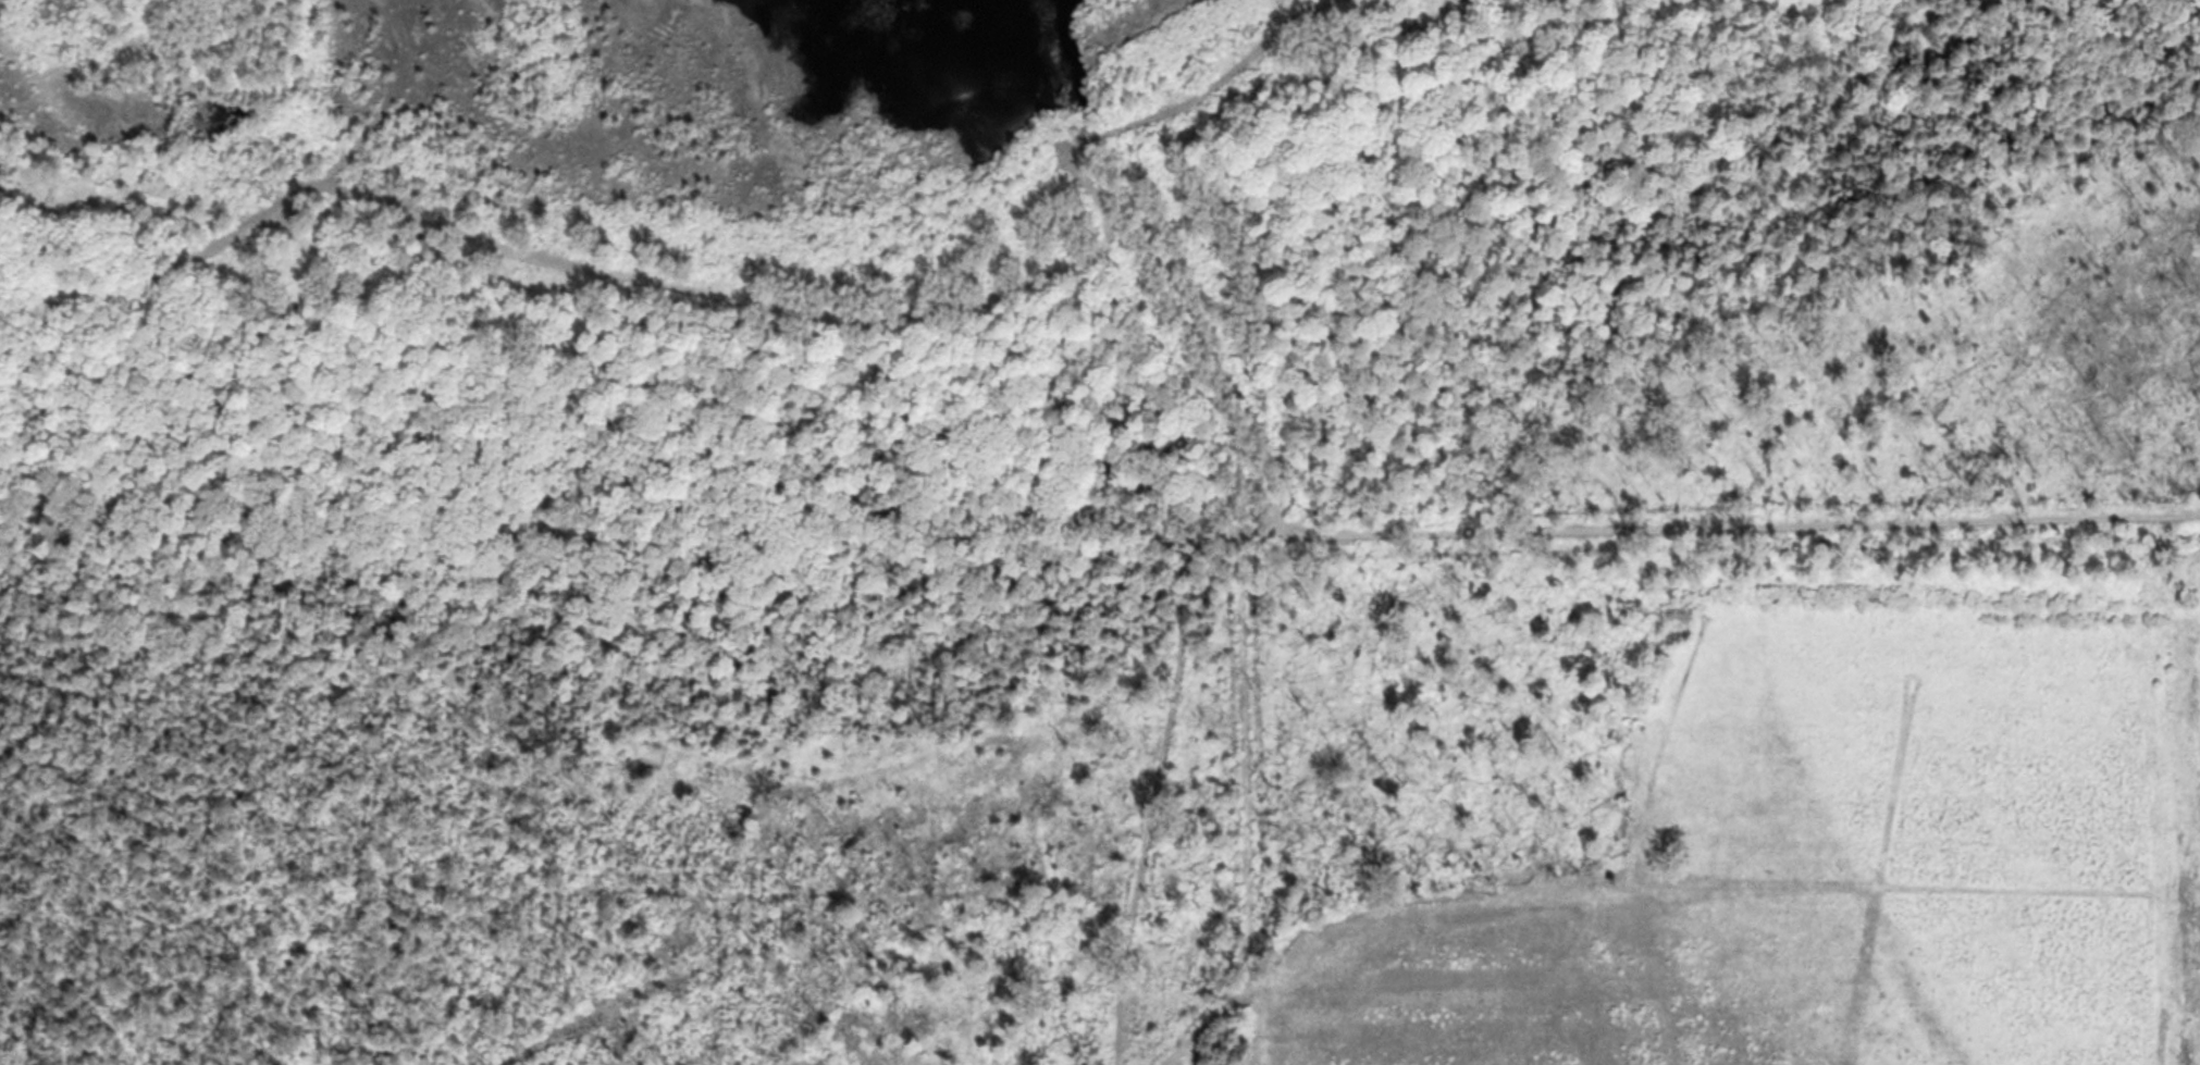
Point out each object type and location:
road: (1099, 529)
road: (1155, 800)

